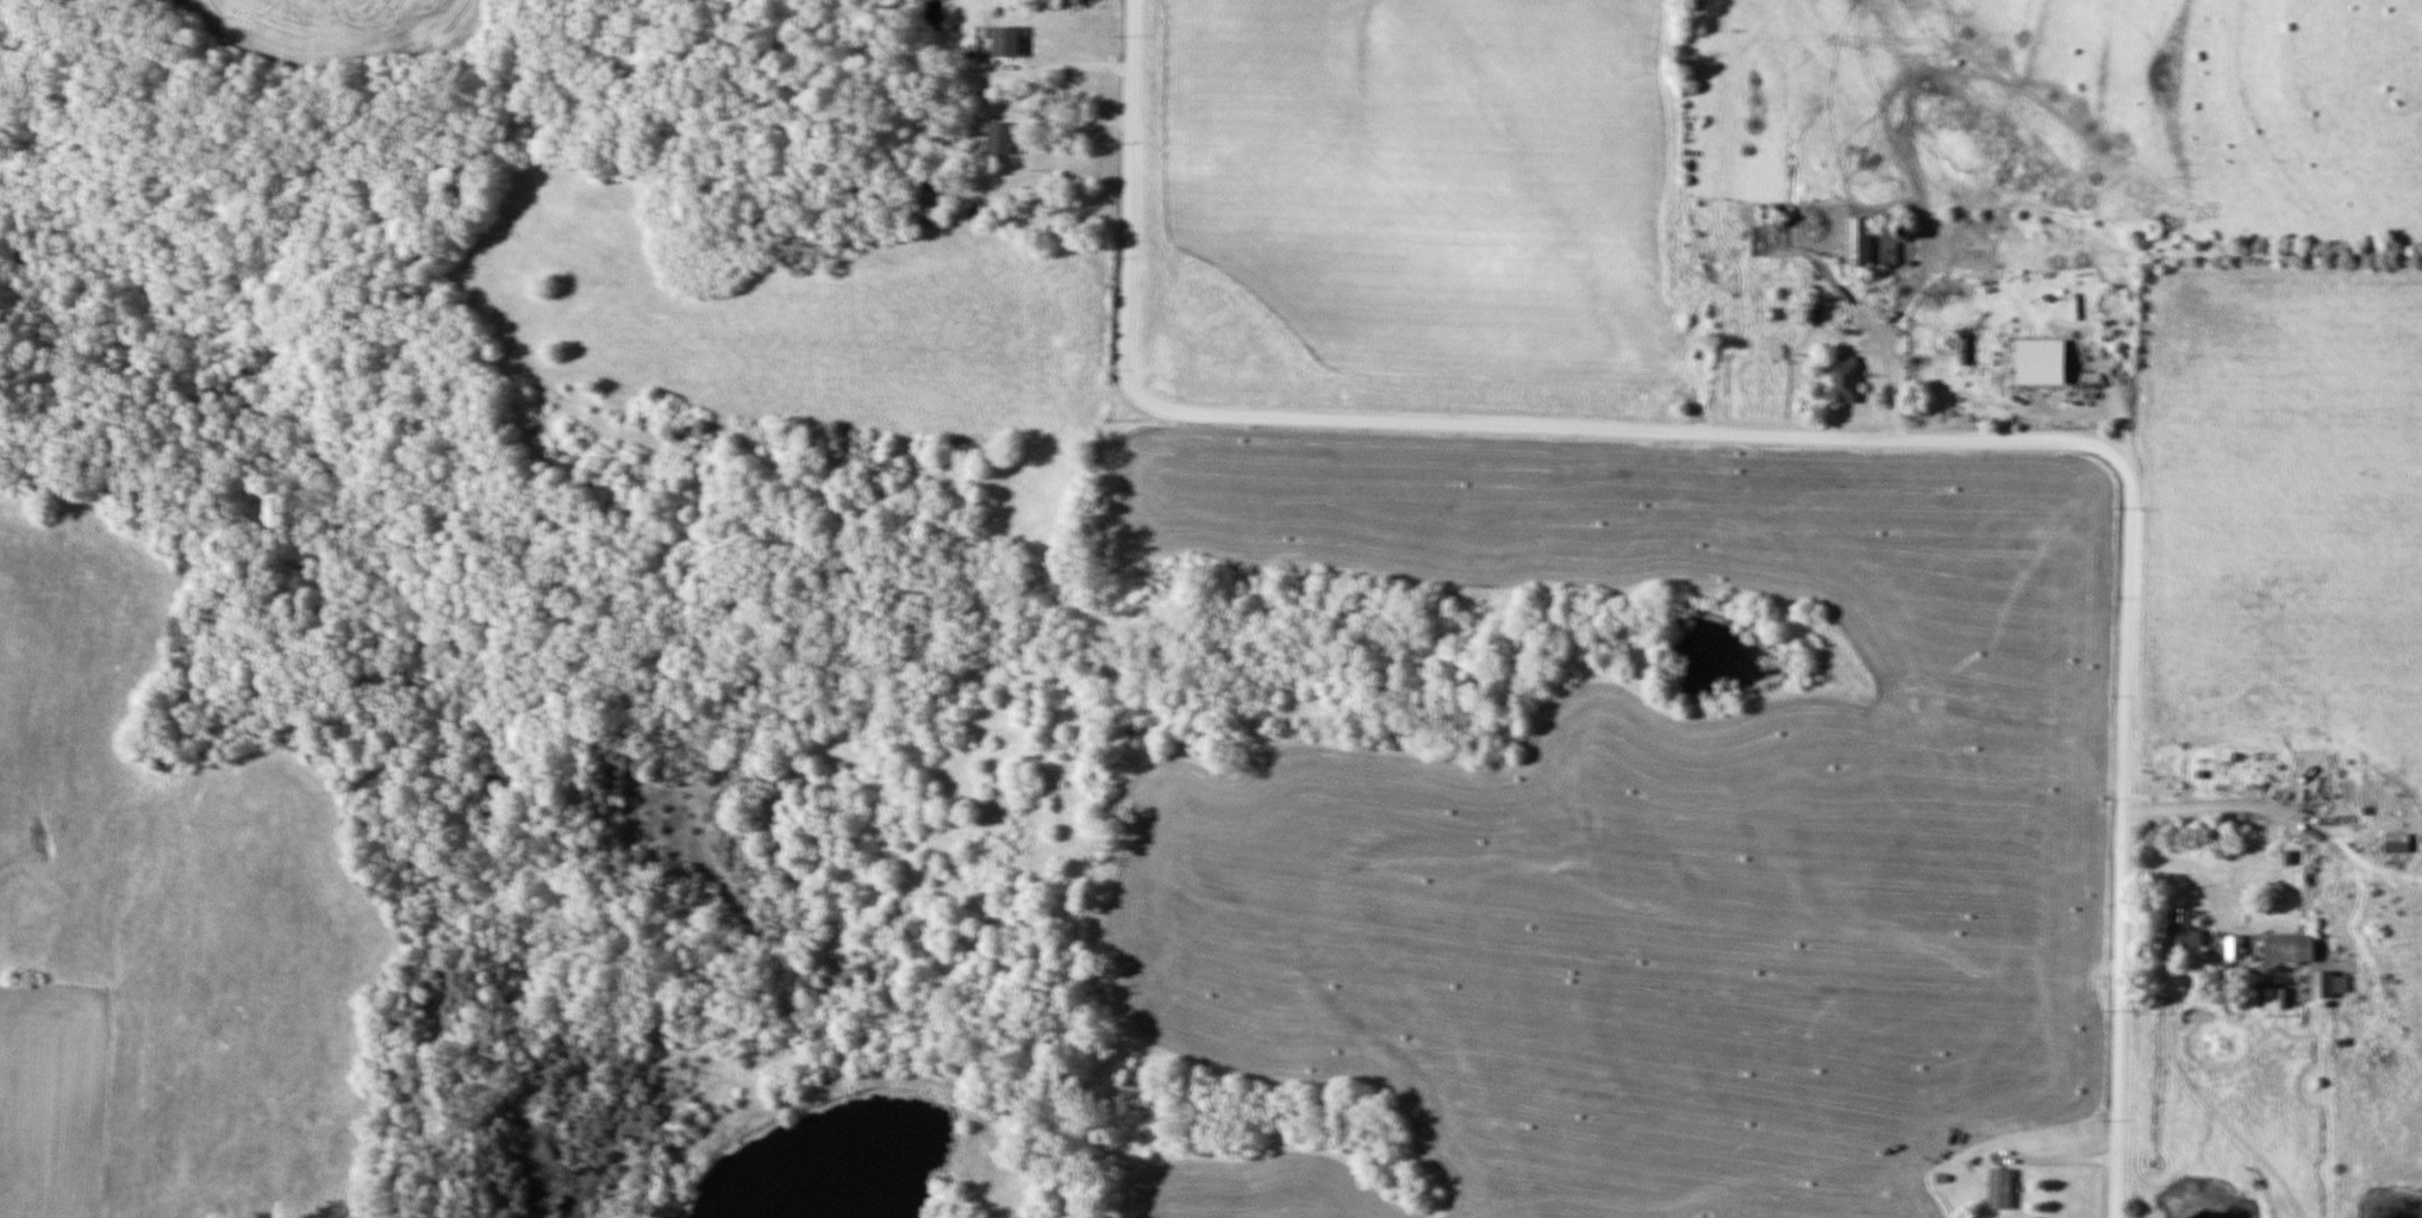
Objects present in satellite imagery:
building: (1006, 42)
building: (1001, 138)
building: (1872, 241)
building: (2041, 362)
building: (1844, 381)
road: (1808, 432)
building: (2396, 843)
building: (2184, 930)
building: (2234, 948)
building: (2284, 949)
building: (2330, 985)
building: (1999, 1188)

